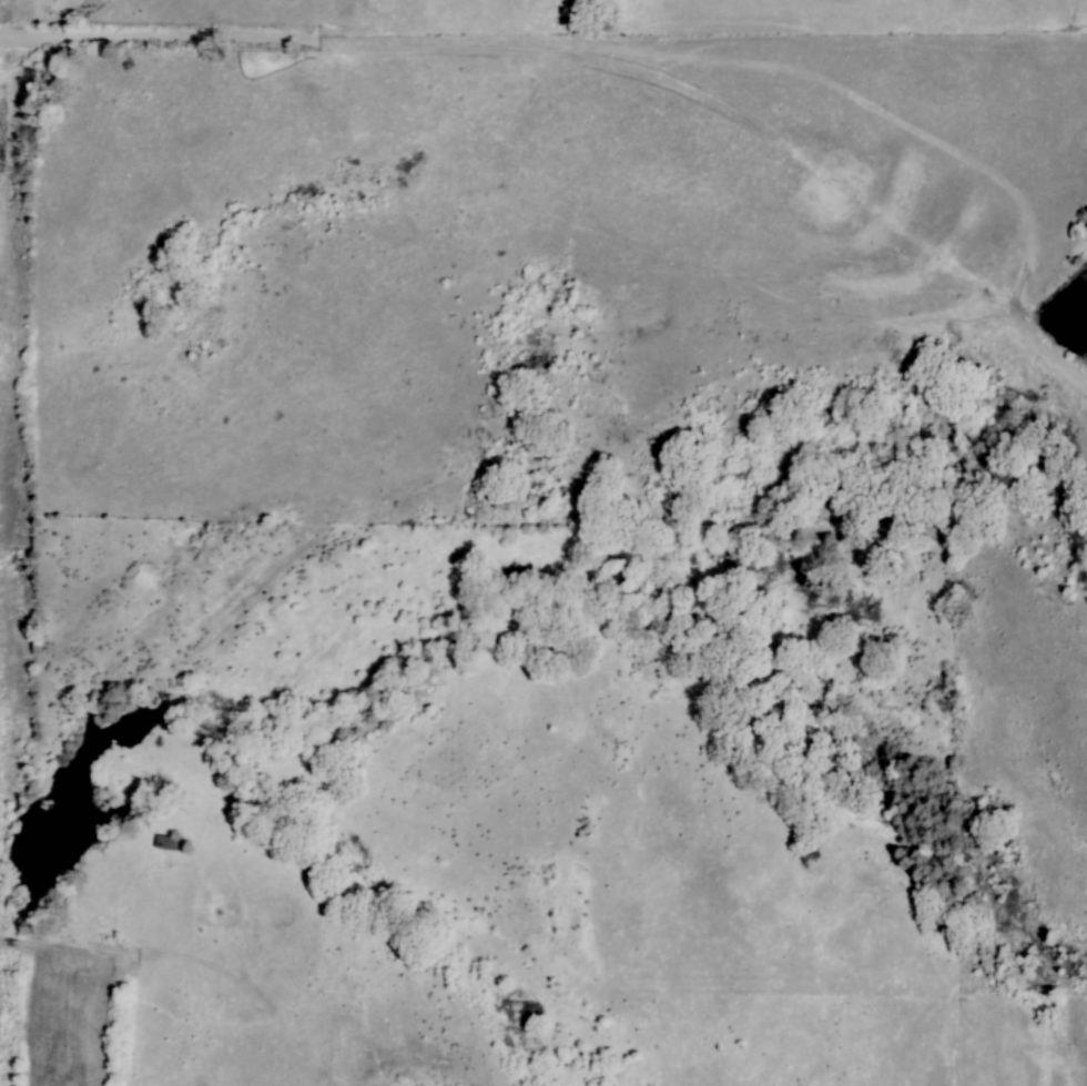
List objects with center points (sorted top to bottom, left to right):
building: (167, 843)

